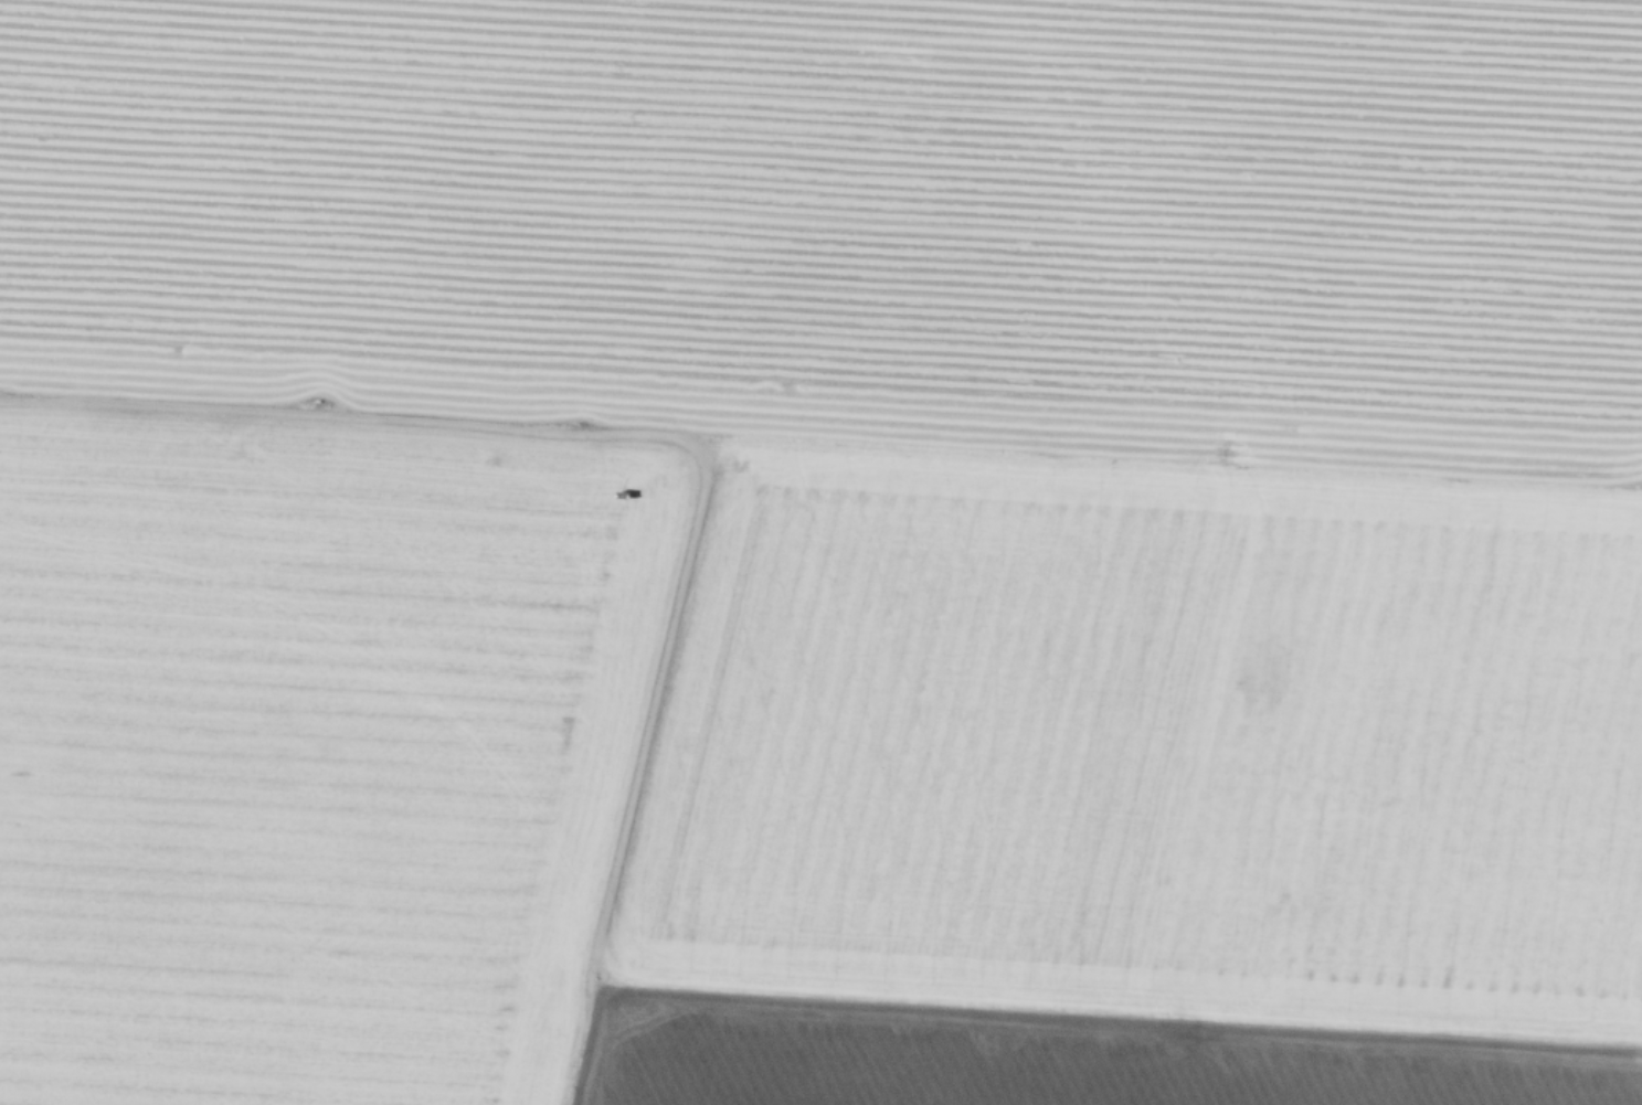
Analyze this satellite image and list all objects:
crop: (854, 217)
crop: (799, 768)
road: (611, 882)
road: (583, 1044)

